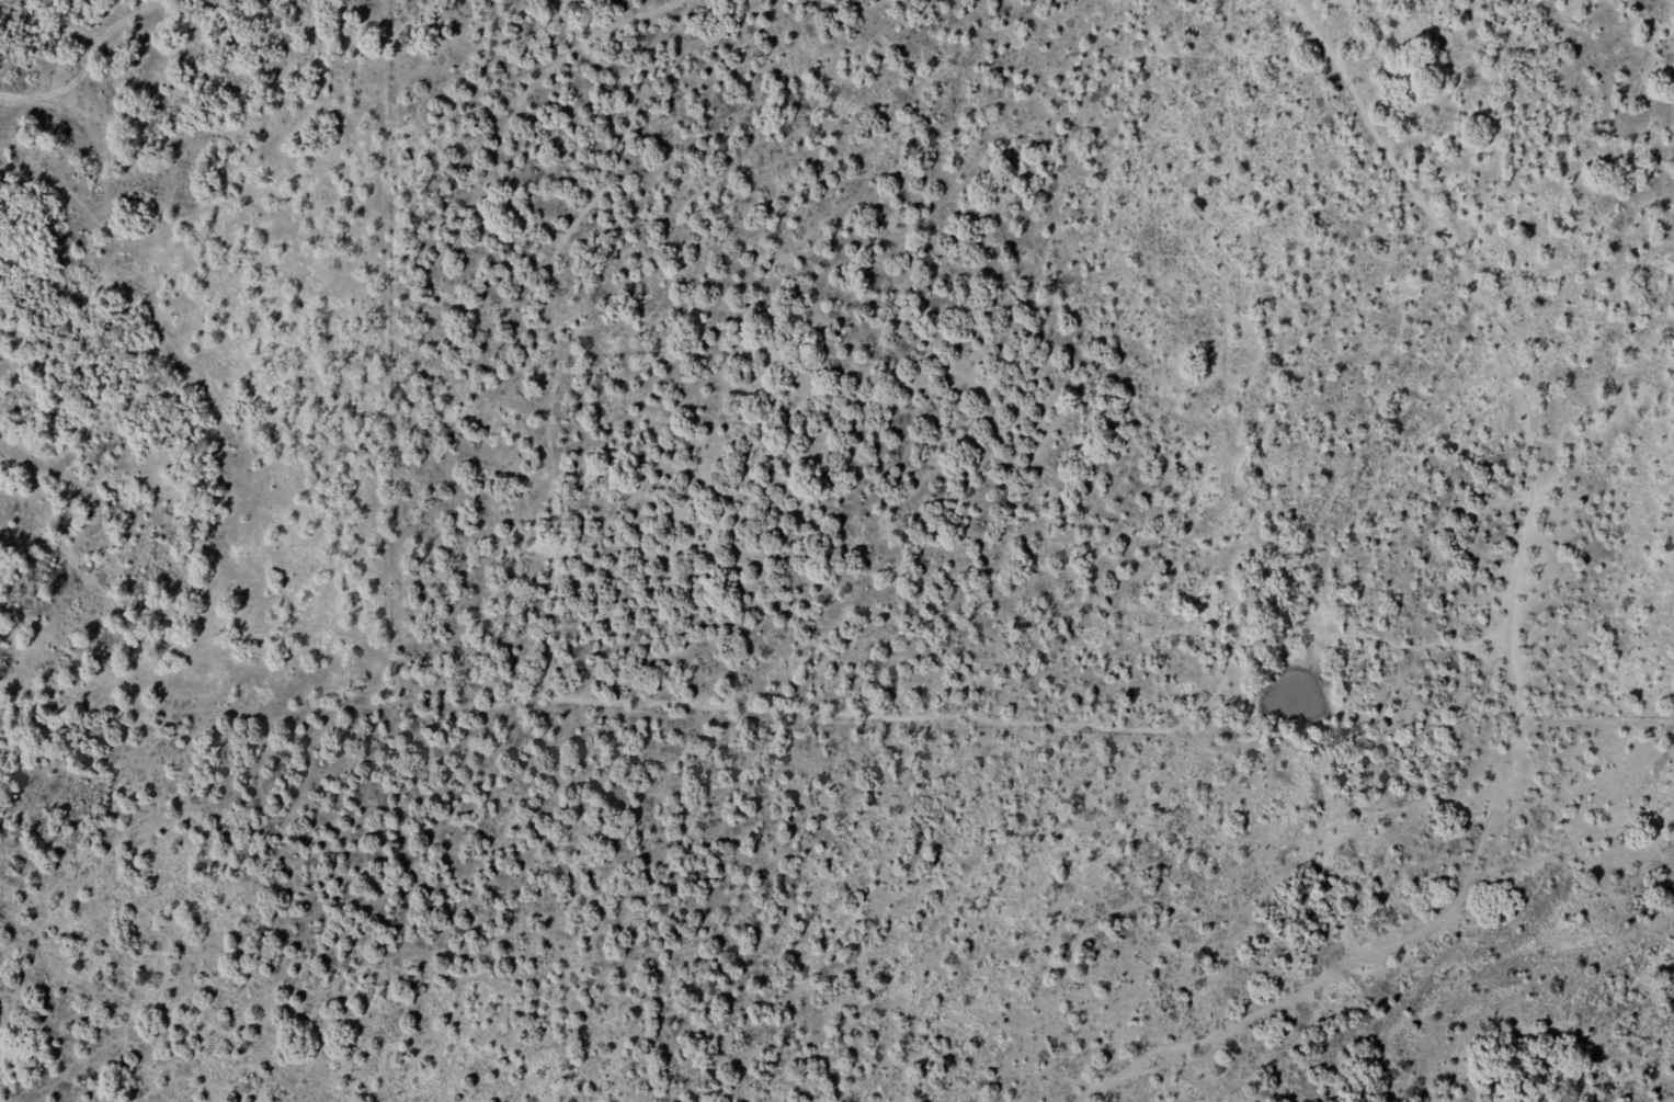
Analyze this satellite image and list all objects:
road: (1400, 956)

